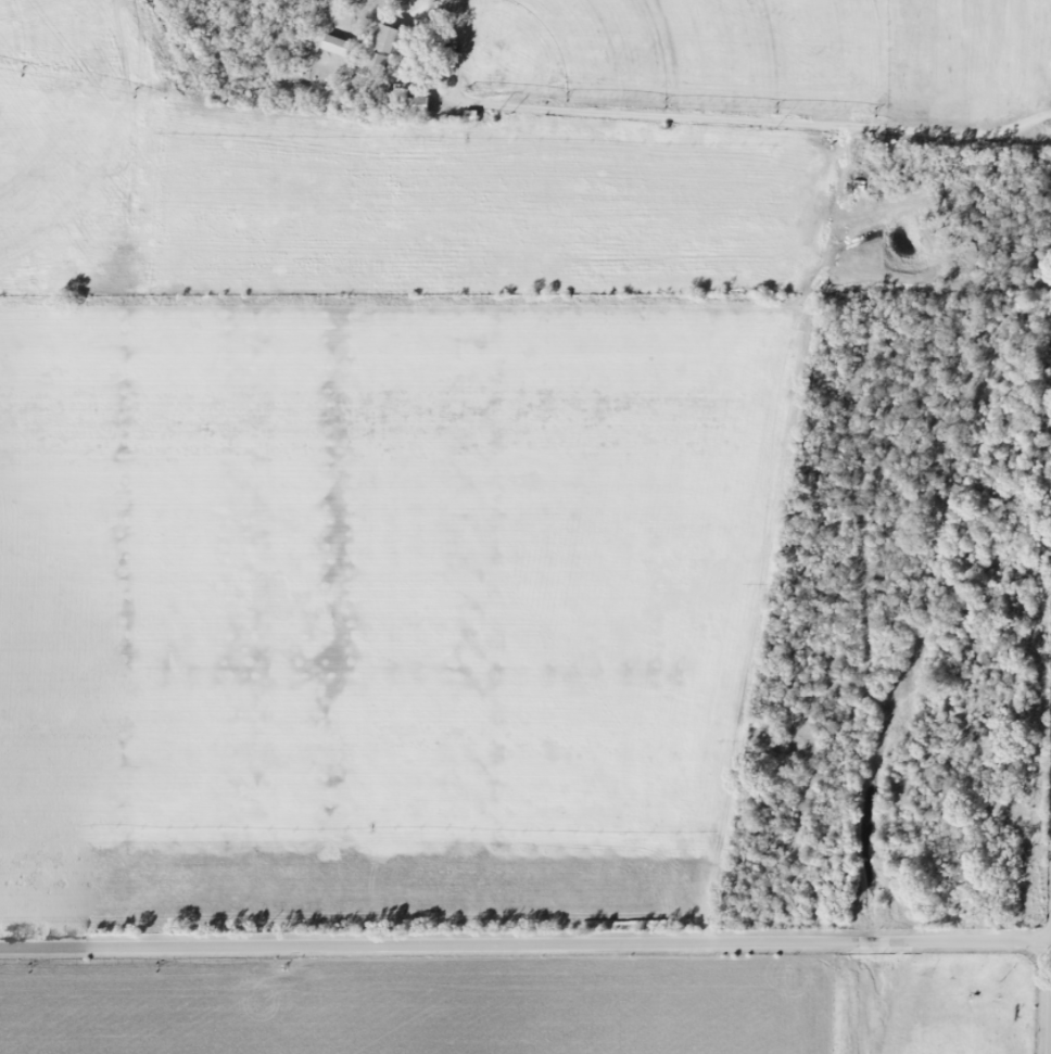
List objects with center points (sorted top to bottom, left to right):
building: (385, 48)
building: (416, 105)
road: (705, 117)
road: (525, 941)

